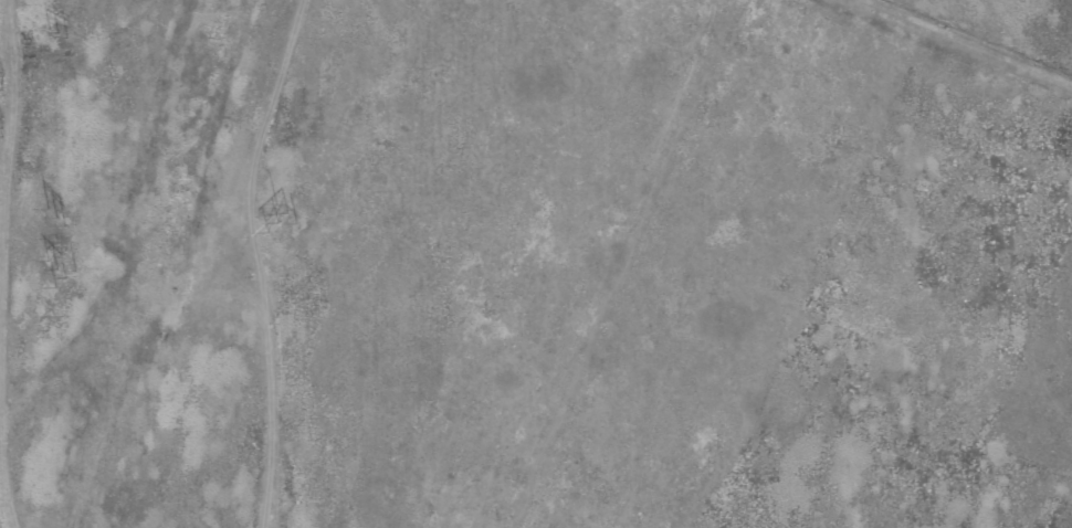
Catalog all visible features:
power tower: (60, 32)
power tower: (4, 82)
power tower: (4, 129)
power tower: (59, 222)
power tower: (282, 223)
power tower: (60, 270)

